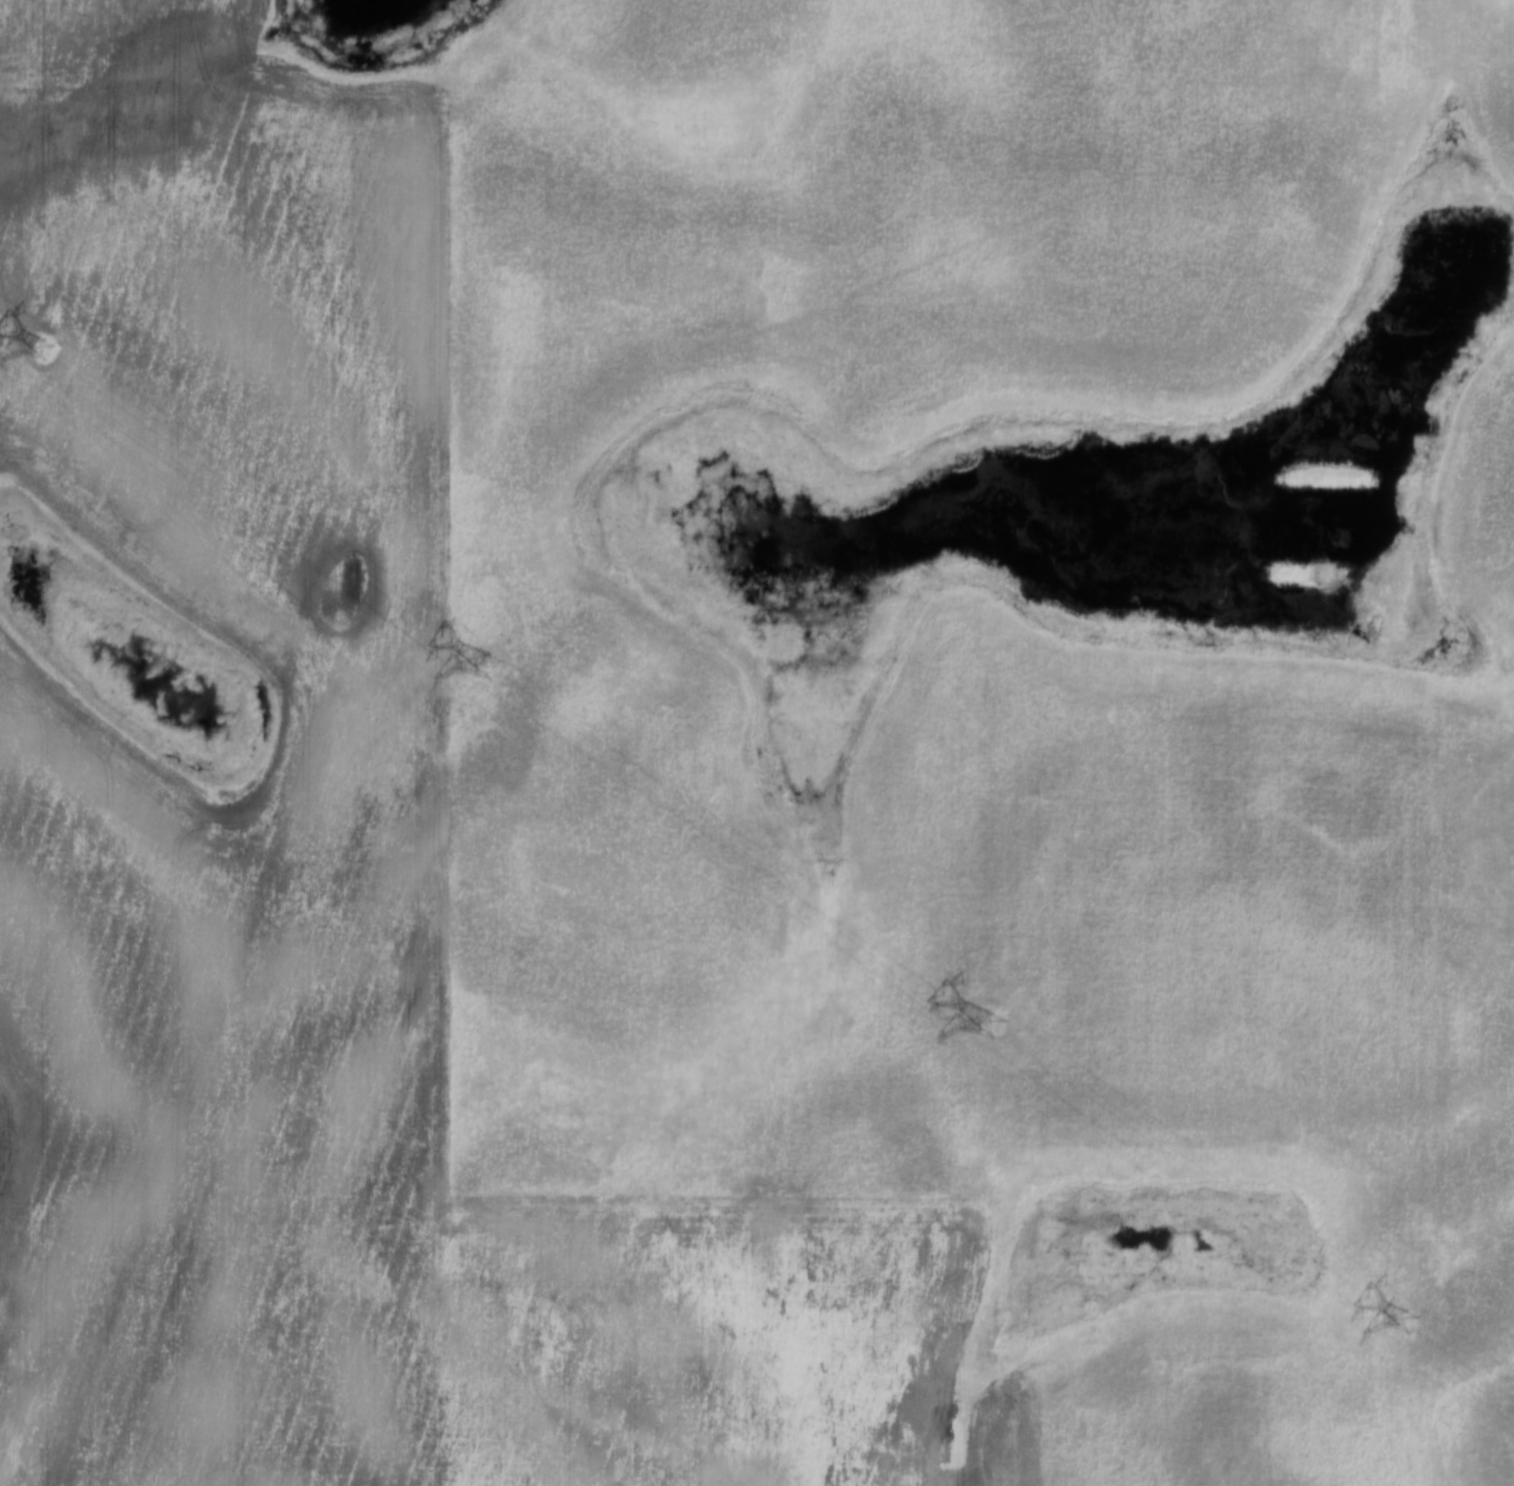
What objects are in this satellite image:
power tower: (46, 350)
power tower: (514, 681)
power tower: (1016, 1041)
power tower: (1407, 1322)

